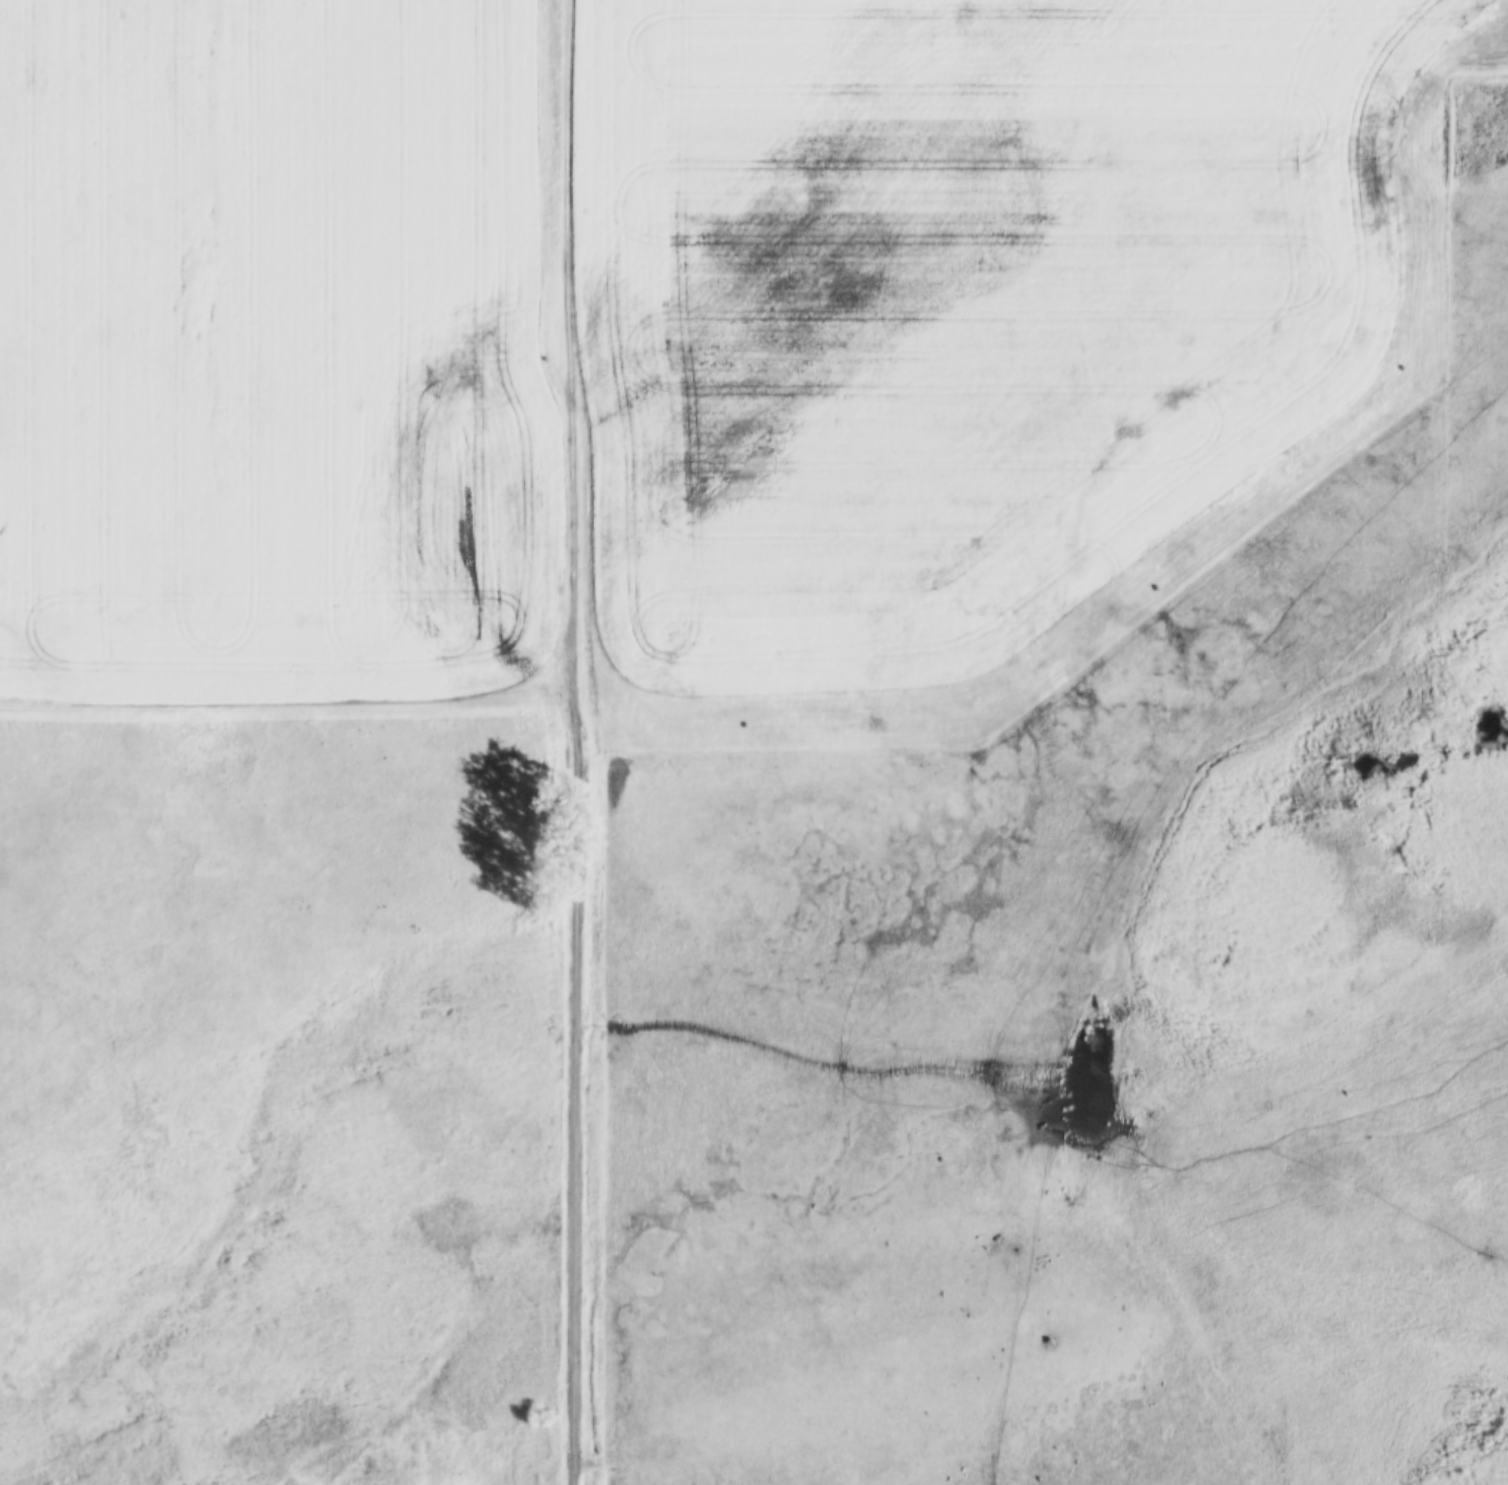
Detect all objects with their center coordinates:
road: (574, 742)

